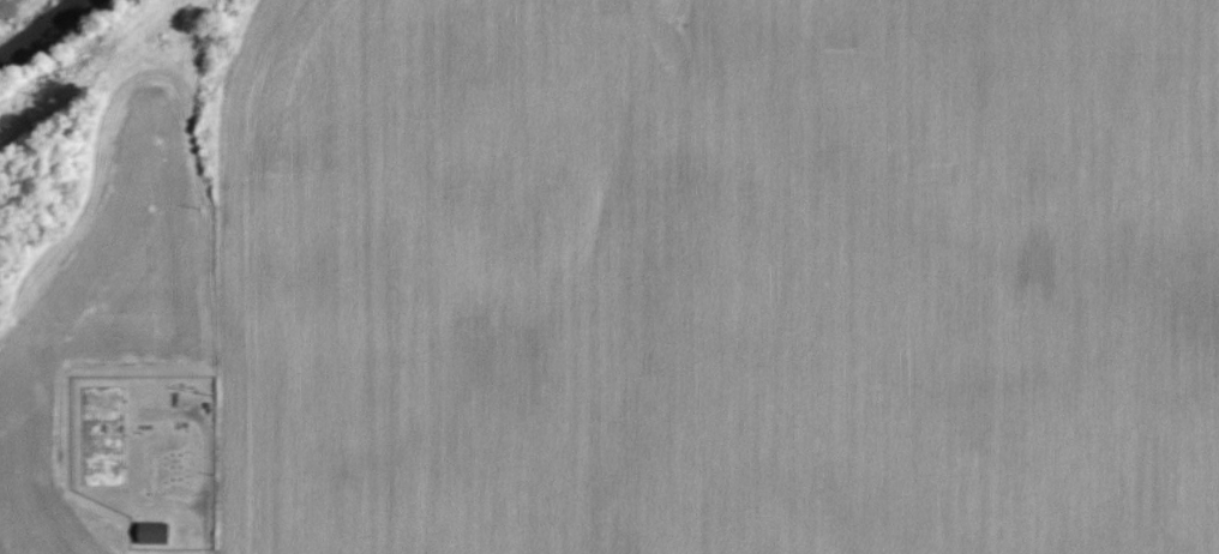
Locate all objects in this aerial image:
railway: (46, 31)
road: (211, 482)
building: (155, 530)

